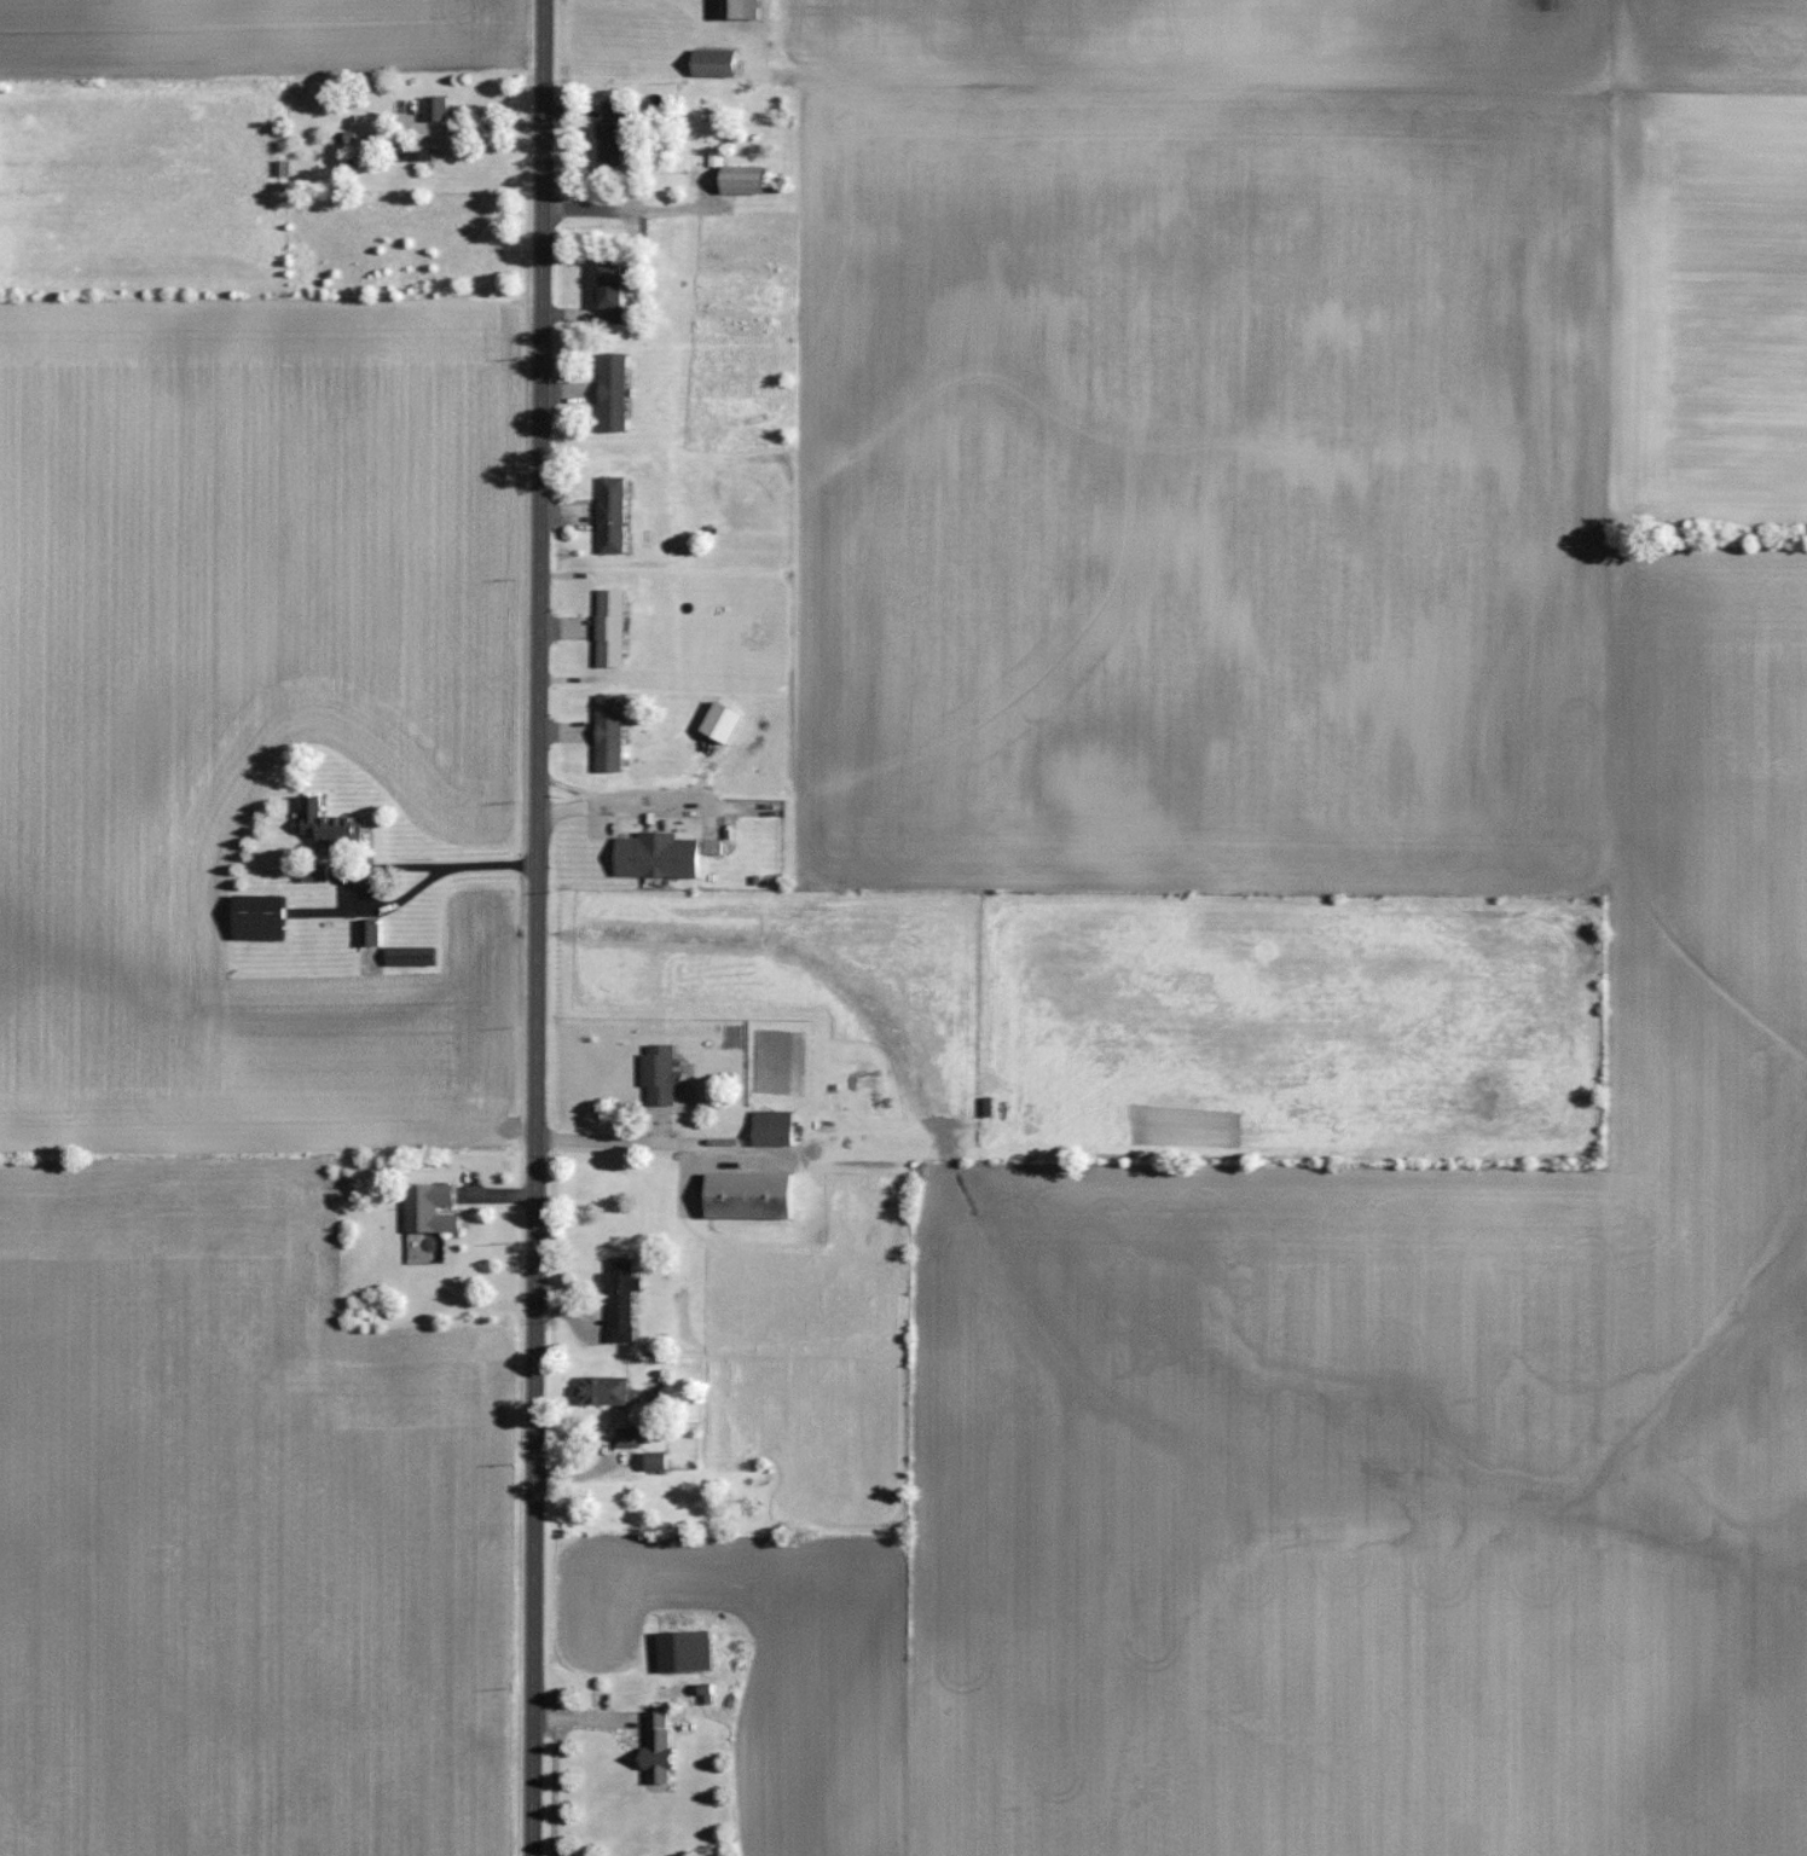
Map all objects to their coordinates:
building: (742, 10)
building: (718, 63)
building: (439, 108)
building: (620, 134)
building: (748, 178)
building: (620, 290)
building: (615, 391)
building: (614, 514)
building: (612, 627)
building: (725, 721)
building: (612, 732)
road: (620, 807)
building: (334, 826)
building: (660, 855)
road: (392, 865)
building: (262, 917)
road: (537, 927)
building: (371, 933)
building: (413, 956)
building: (775, 1127)
road: (615, 1142)
building: (753, 1194)
building: (434, 1207)
building: (624, 1299)
building: (604, 1391)
building: (630, 1438)
building: (660, 1460)
building: (688, 1652)
building: (661, 1748)

